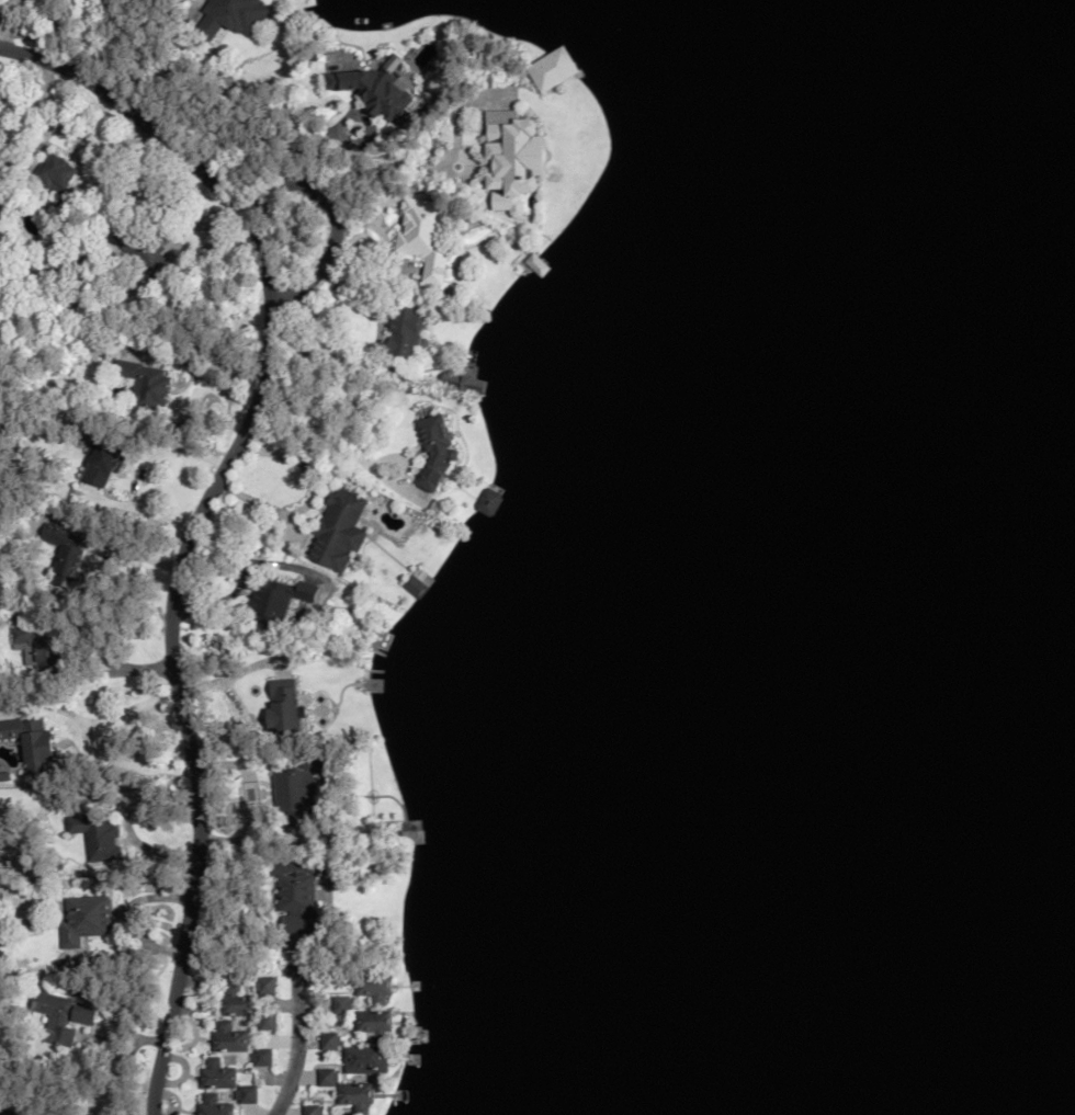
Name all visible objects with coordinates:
building: (233, 16)
road: (218, 67)
building: (554, 70)
building: (373, 92)
building: (514, 160)
road: (375, 169)
building: (56, 178)
road: (324, 224)
building: (426, 235)
building: (142, 248)
building: (539, 265)
building: (404, 330)
building: (463, 382)
building: (146, 383)
building: (435, 446)
building: (103, 463)
road: (138, 471)
road: (309, 498)
building: (489, 501)
road: (201, 516)
building: (338, 530)
building: (67, 549)
building: (417, 585)
building: (279, 599)
building: (38, 645)
building: (284, 705)
building: (31, 741)
road: (95, 748)
building: (299, 789)
building: (95, 833)
building: (301, 892)
building: (86, 919)
building: (264, 985)
building: (375, 986)
building: (236, 1001)
building: (342, 1004)
building: (57, 1017)
building: (375, 1020)
building: (265, 1022)
building: (228, 1037)
building: (330, 1040)
building: (261, 1057)
building: (365, 1059)
road: (295, 1063)
building: (217, 1074)
building: (327, 1077)
building: (357, 1095)
building: (312, 1110)

